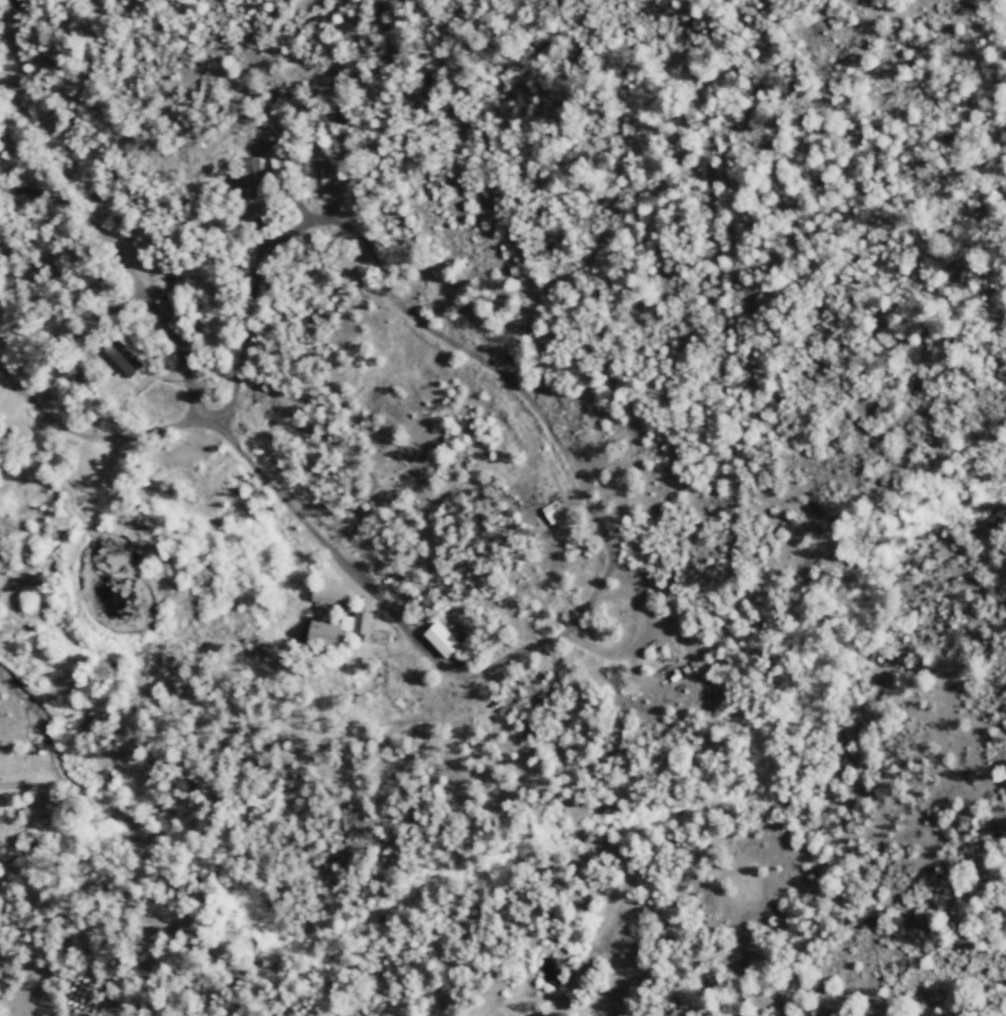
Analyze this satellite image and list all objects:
building: (276, 158)
building: (250, 180)
building: (125, 354)
building: (549, 511)
building: (329, 619)
building: (436, 638)

